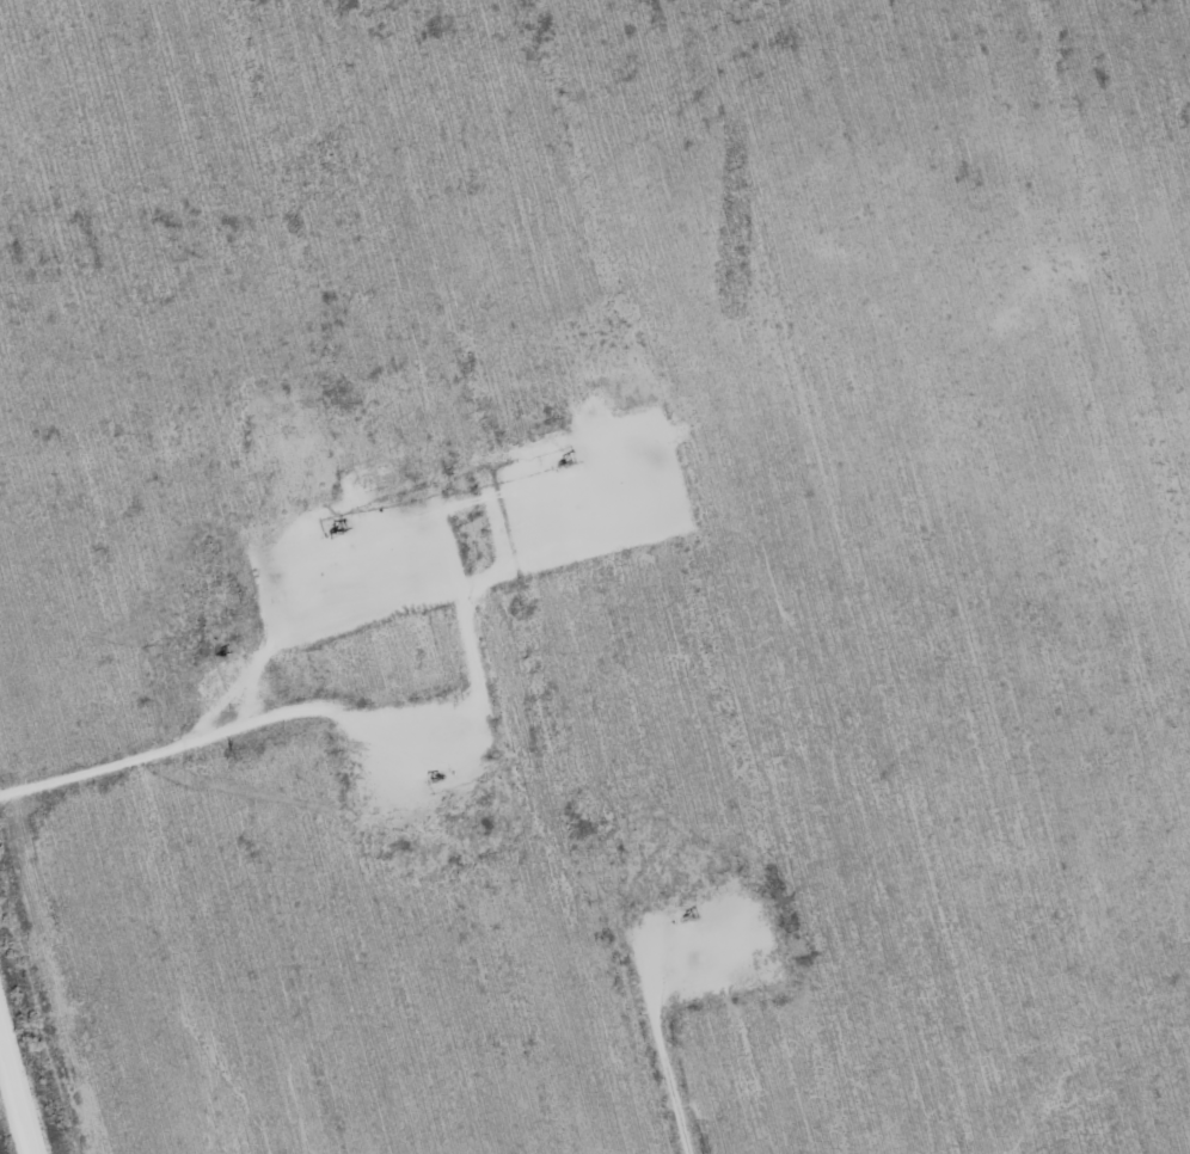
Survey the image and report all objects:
road: (17, 1088)

